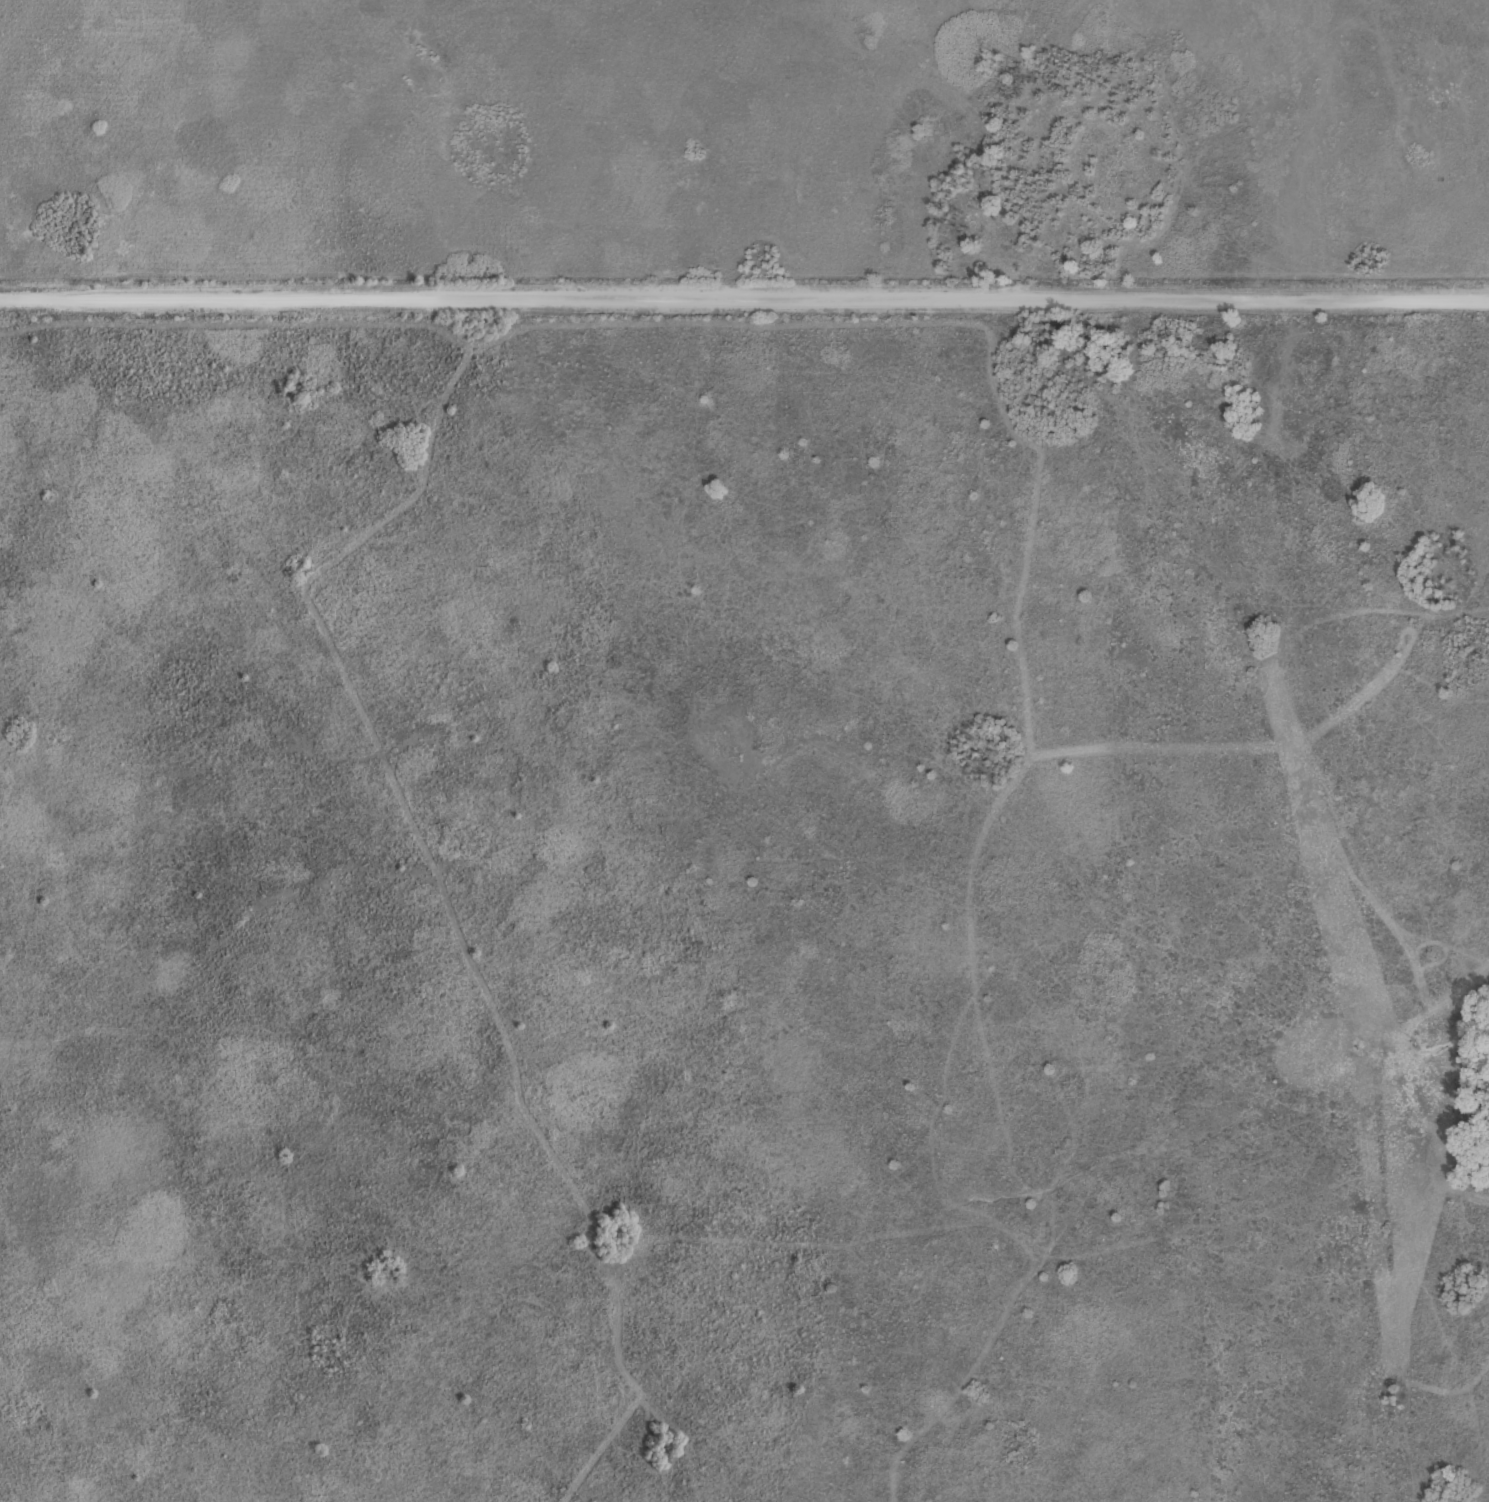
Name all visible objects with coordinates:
road: (744, 298)
road: (1432, 1083)

